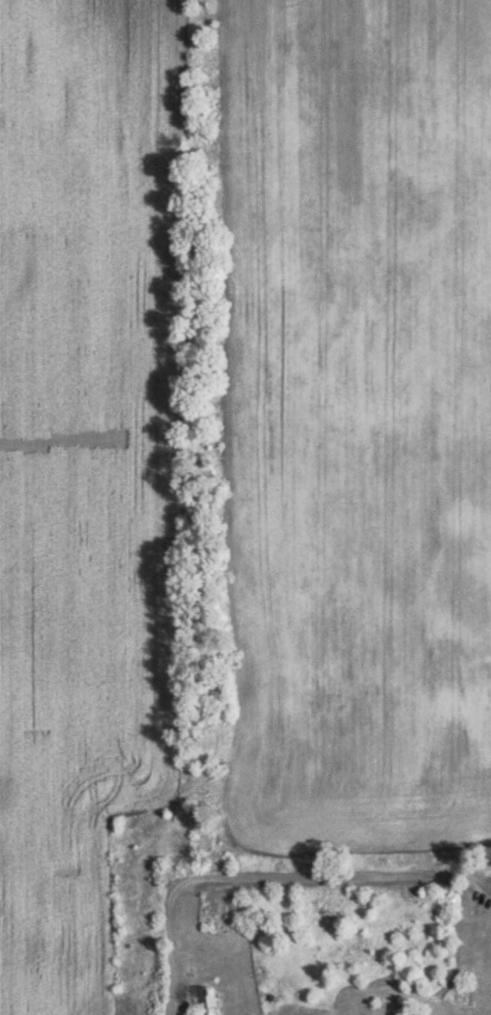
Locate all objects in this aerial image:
road: (271, 876)
building: (202, 1000)

